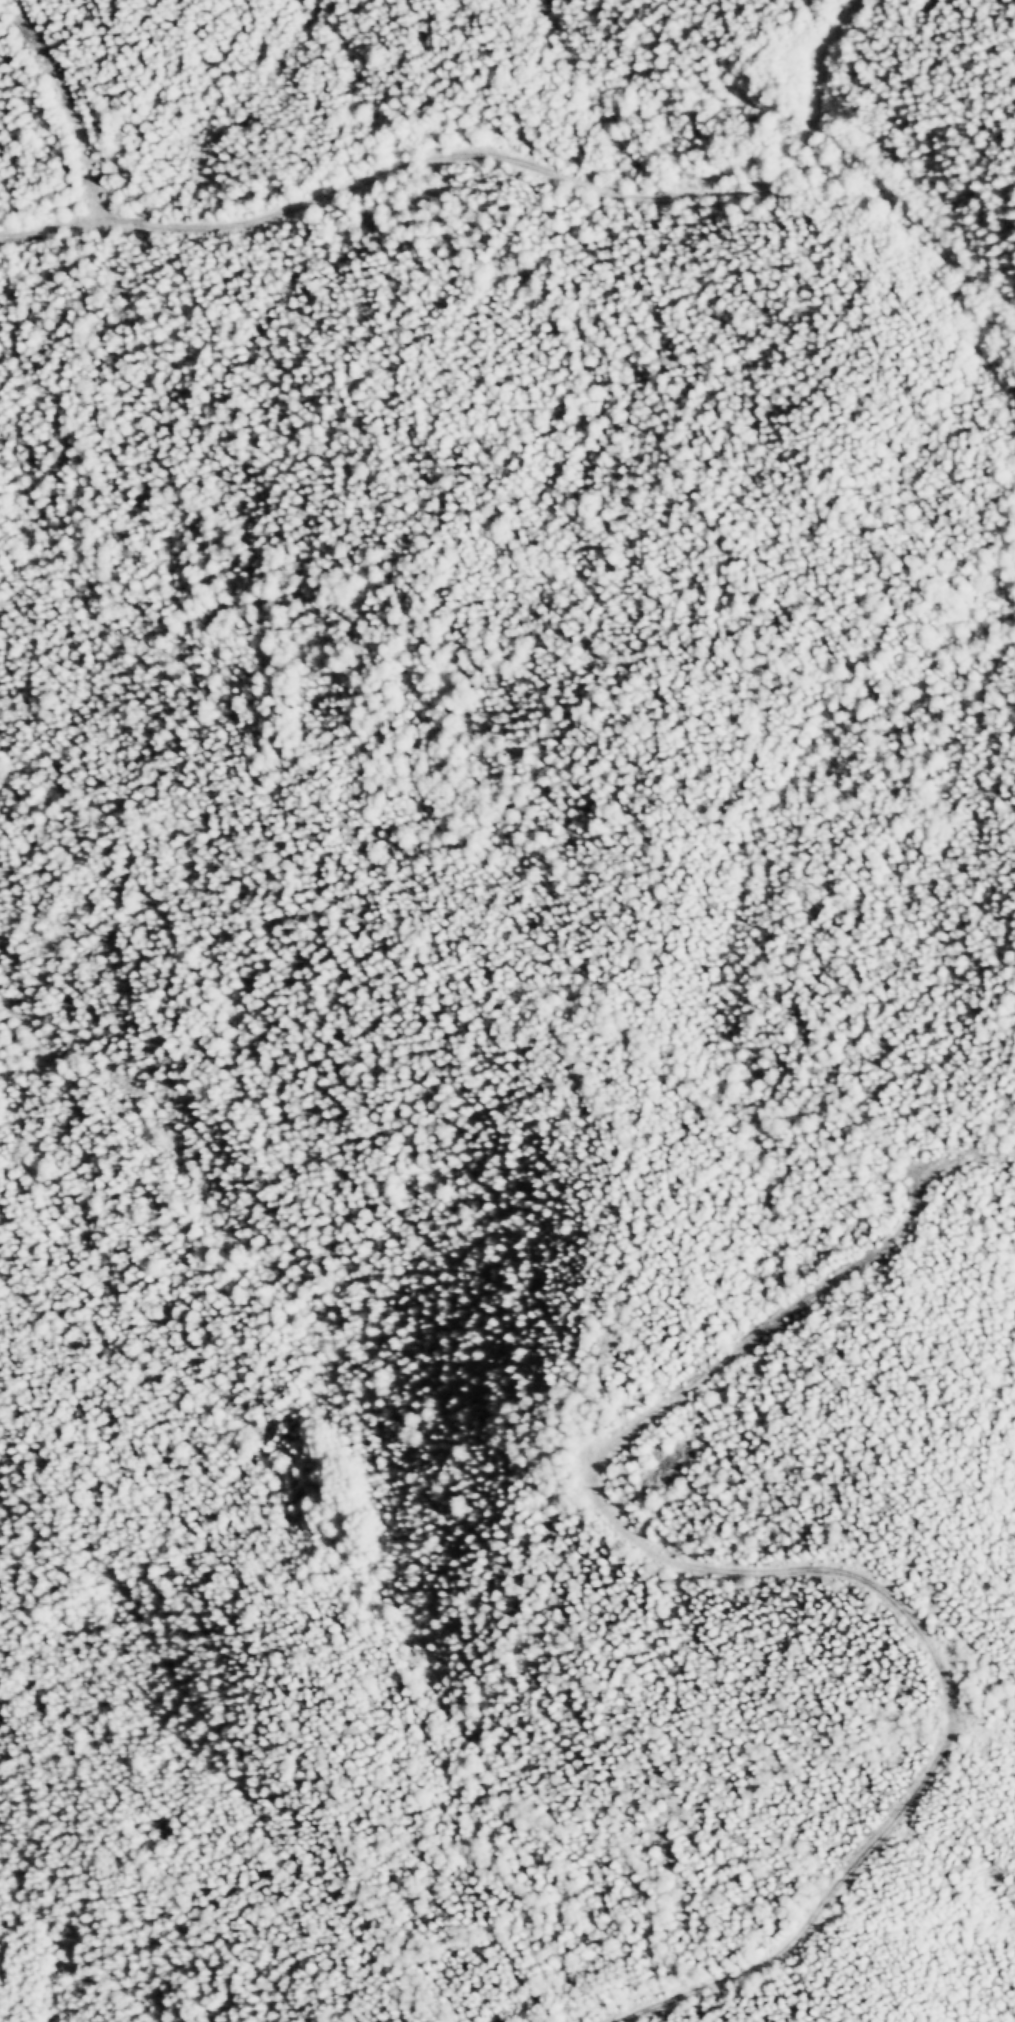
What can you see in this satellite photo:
road: (80, 1768)

